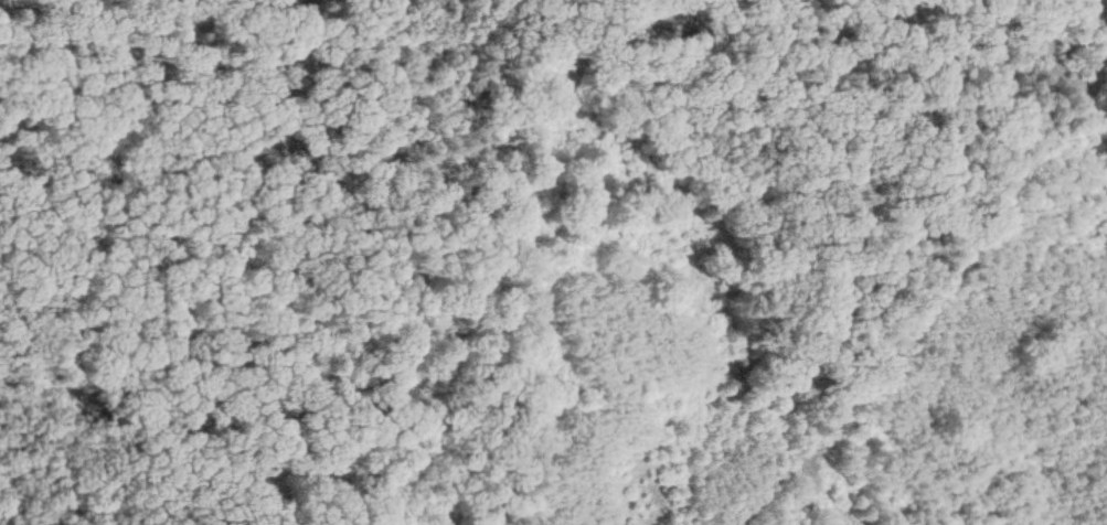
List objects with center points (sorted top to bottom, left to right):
road: (920, 296)
road: (869, 483)

